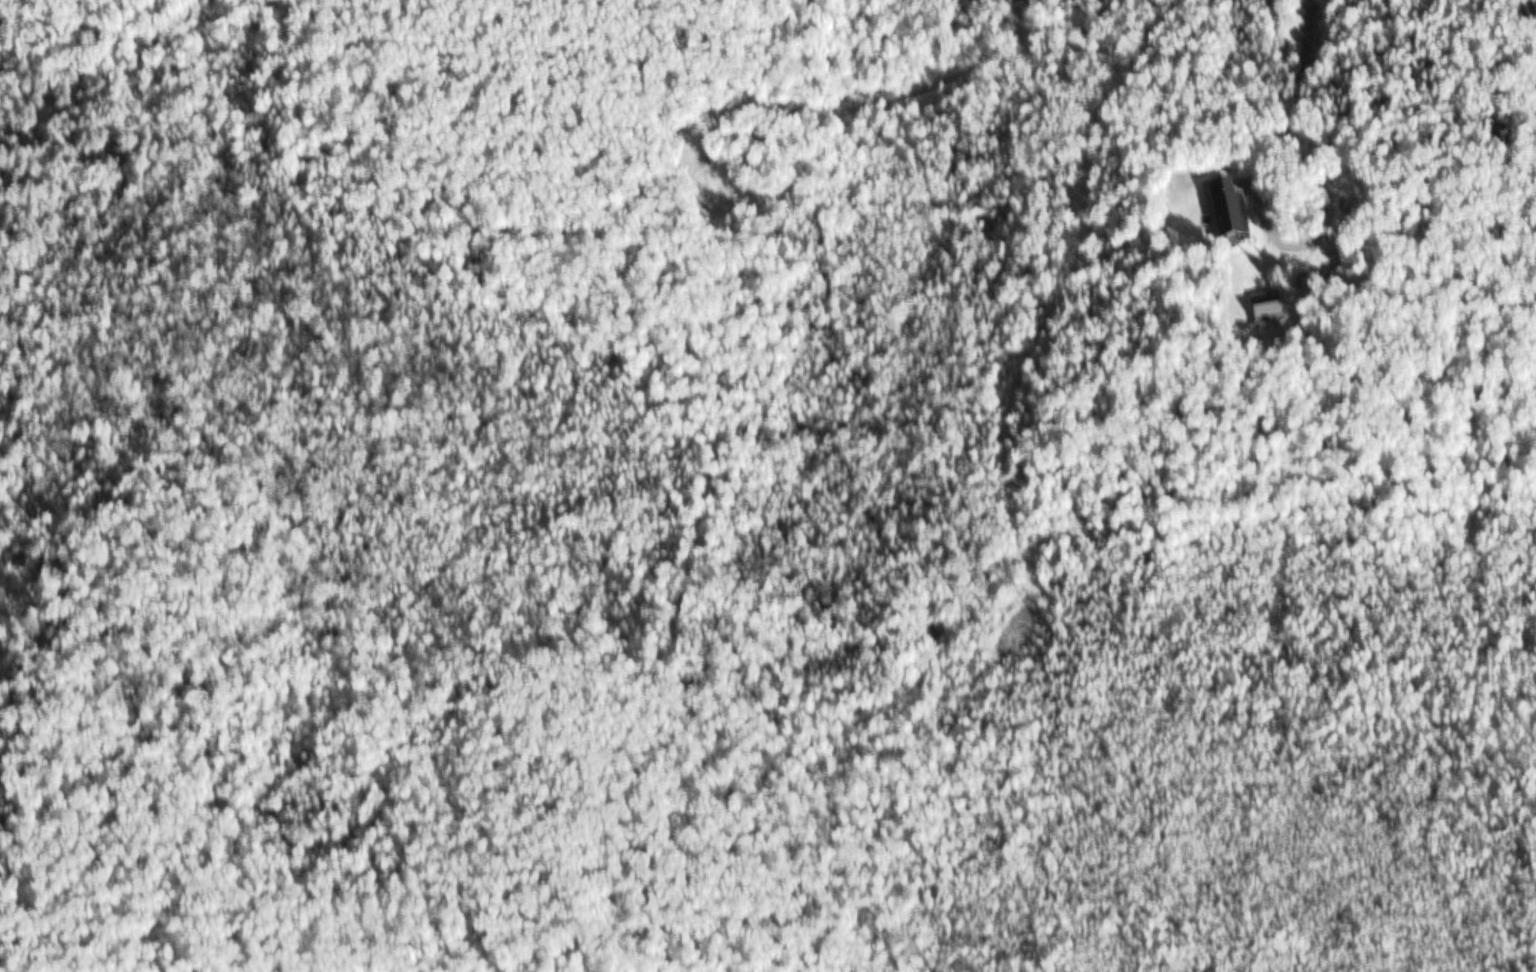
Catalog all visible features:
building: (1235, 214)
building: (1275, 309)

